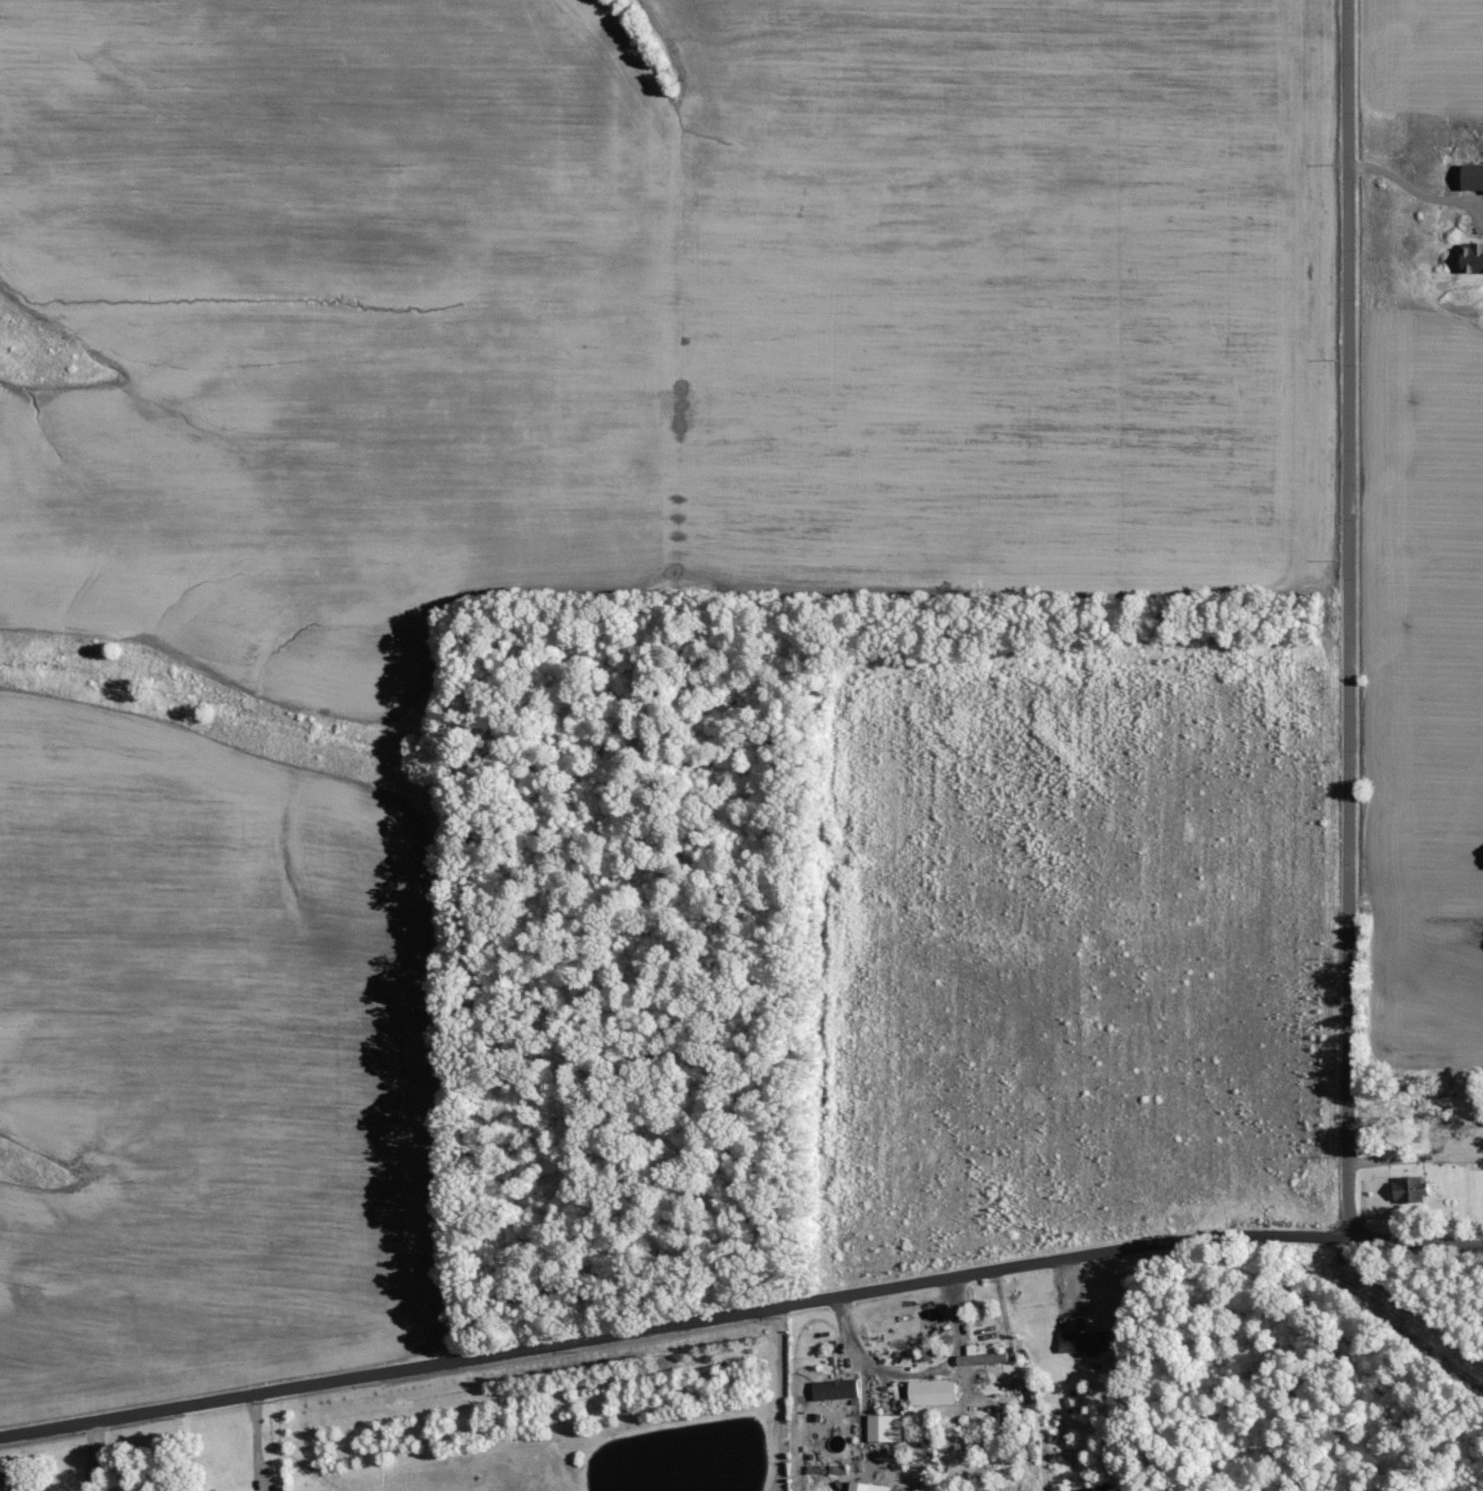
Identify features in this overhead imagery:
building: (1473, 179)
building: (1473, 263)
road: (1351, 619)
building: (1411, 1190)
road: (1418, 1241)
road: (675, 1325)
building: (1086, 1342)
building: (981, 1357)
road: (922, 1377)
building: (836, 1390)
building: (933, 1393)
road: (788, 1399)
building: (886, 1428)
road: (260, 1443)
building: (869, 1487)

